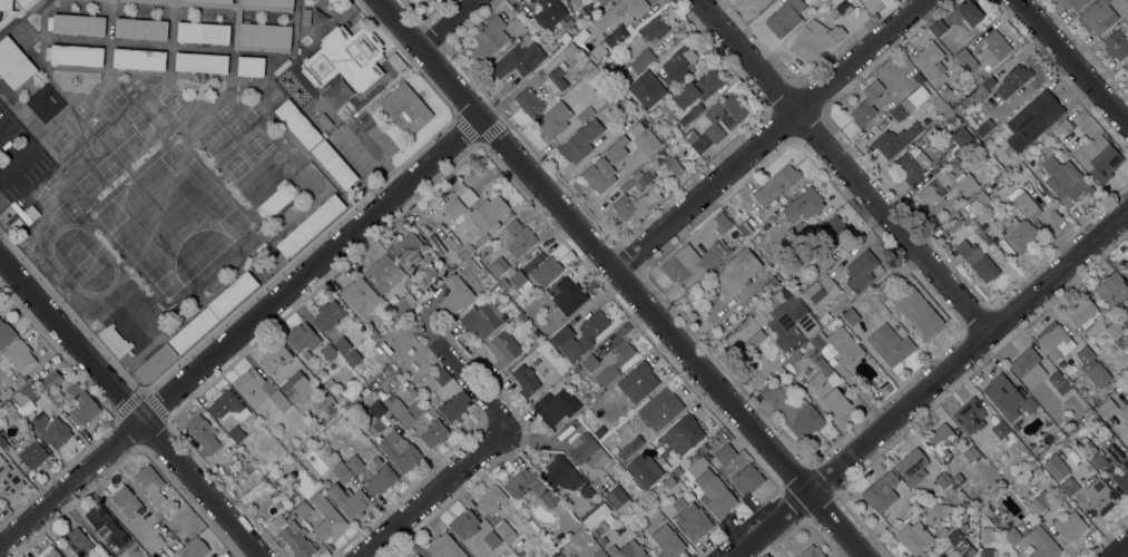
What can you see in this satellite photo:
building: (882, 1)
building: (269, 2)
building: (576, 2)
building: (602, 2)
building: (757, 3)
building: (1073, 3)
building: (873, 6)
building: (14, 9)
building: (620, 12)
building: (969, 14)
building: (304, 17)
building: (551, 17)
building: (785, 17)
building: (1097, 17)
road: (447, 23)
building: (78, 25)
building: (140, 29)
building: (514, 29)
building: (573, 29)
building: (654, 29)
building: (938, 29)
building: (203, 33)
building: (236, 33)
building: (265, 36)
building: (616, 37)
building: (489, 38)
building: (578, 38)
building: (950, 38)
building: (815, 40)
building: (1116, 46)
building: (954, 47)
building: (993, 49)
building: (569, 50)
building: (606, 50)
building: (76, 56)
building: (646, 57)
building: (518, 58)
building: (139, 59)
building: (344, 59)
building: (964, 59)
building: (202, 62)
building: (930, 62)
building: (13, 63)
road: (1072, 65)
building: (251, 66)
building: (588, 66)
building: (678, 66)
building: (1126, 69)
building: (558, 76)
building: (643, 78)
building: (1013, 80)
building: (697, 89)
building: (982, 90)
building: (944, 91)
building: (545, 92)
building: (334, 96)
building: (634, 100)
building: (305, 101)
building: (528, 101)
building: (909, 104)
building: (866, 105)
building: (405, 108)
building: (690, 114)
building: (585, 115)
building: (553, 120)
building: (958, 121)
building: (1031, 121)
building: (297, 124)
building: (1067, 125)
building: (729, 126)
building: (983, 128)
building: (7, 130)
road: (766, 135)
building: (960, 137)
building: (646, 140)
building: (893, 140)
building: (580, 141)
building: (617, 149)
building: (1098, 158)
building: (334, 164)
building: (911, 164)
road: (843, 165)
building: (673, 166)
building: (599, 175)
building: (29, 176)
building: (638, 182)
building: (1066, 182)
building: (964, 184)
building: (776, 185)
building: (935, 187)
building: (276, 201)
building: (981, 201)
building: (808, 202)
building: (636, 204)
building: (1026, 205)
building: (968, 207)
building: (24, 213)
building: (473, 214)
building: (510, 214)
building: (720, 223)
building: (419, 228)
building: (745, 228)
building: (975, 228)
building: (306, 229)
building: (833, 232)
building: (797, 233)
building: (1020, 235)
building: (517, 238)
building: (471, 241)
building: (408, 252)
building: (479, 254)
building: (824, 261)
building: (978, 261)
building: (691, 263)
building: (1126, 265)
building: (496, 268)
building: (443, 271)
building: (738, 271)
building: (861, 271)
building: (546, 272)
building: (383, 273)
building: (426, 275)
road: (621, 280)
building: (517, 282)
building: (503, 283)
building: (496, 287)
building: (766, 287)
building: (820, 291)
building: (883, 291)
building: (1112, 291)
building: (233, 294)
building: (567, 295)
building: (454, 296)
building: (362, 301)
building: (402, 304)
building: (918, 313)
building: (1082, 314)
building: (327, 315)
building: (520, 316)
building: (822, 316)
building: (851, 316)
building: (788, 319)
building: (482, 320)
building: (193, 330)
building: (591, 330)
building: (1114, 330)
building: (372, 332)
building: (742, 333)
building: (6, 334)
road: (239, 334)
building: (302, 338)
building: (1055, 340)
building: (114, 341)
building: (563, 341)
building: (1117, 343)
building: (840, 344)
building: (342, 345)
building: (889, 345)
building: (503, 349)
building: (328, 352)
building: (1009, 354)
building: (1085, 354)
building: (306, 355)
building: (349, 356)
building: (20, 358)
building: (275, 358)
building: (608, 362)
building: (155, 363)
building: (1028, 368)
building: (577, 369)
building: (394, 372)
building: (1097, 374)
building: (441, 377)
building: (567, 378)
building: (524, 381)
building: (248, 382)
building: (389, 382)
building: (637, 382)
road: (930, 382)
building: (327, 383)
building: (1059, 383)
building: (1126, 383)
building: (51, 387)
building: (295, 387)
building: (827, 388)
building: (29, 391)
building: (380, 394)
road: (468, 395)
building: (1007, 398)
building: (279, 400)
building: (46, 401)
building: (80, 404)
building: (226, 407)
building: (374, 407)
building: (453, 407)
building: (556, 407)
road: (130, 409)
building: (330, 409)
building: (659, 409)
building: (1106, 409)
building: (401, 410)
building: (792, 411)
building: (324, 413)
building: (970, 417)
building: (1069, 420)
building: (1, 423)
building: (315, 424)
building: (1016, 427)
building: (1062, 427)
building: (999, 429)
building: (50, 430)
building: (1077, 430)
building: (599, 431)
building: (685, 432)
building: (203, 433)
building: (434, 433)
building: (236, 434)
building: (722, 436)
building: (1127, 438)
building: (941, 440)
building: (1063, 441)
building: (2, 442)
building: (629, 448)
building: (704, 449)
building: (588, 451)
building: (31, 452)
building: (340, 452)
building: (400, 452)
building: (665, 453)
building: (1090, 453)
building: (724, 455)
building: (696, 456)
building: (971, 456)
building: (707, 457)
building: (353, 465)
building: (1118, 466)
building: (912, 467)
building: (1056, 467)
building: (1088, 467)
building: (247, 468)
building: (644, 470)
building: (677, 471)
building: (1037, 471)
building: (341, 472)
building: (560, 475)
building: (1027, 476)
building: (9, 479)
building: (747, 479)
building: (149, 480)
building: (381, 480)
building: (943, 480)
building: (520, 482)
building: (668, 482)
building: (1068, 486)
building: (712, 490)
building: (586, 491)
building: (881, 492)
building: (651, 495)
road: (433, 496)
building: (1099, 499)
building: (126, 500)
building: (349, 500)
building: (490, 500)
building: (618, 500)
building: (550, 501)
building: (1039, 502)
building: (296, 504)
building: (964, 504)
building: (964, 510)
building: (987, 511)
building: (936, 512)
building: (597, 516)
building: (974, 516)
building: (327, 519)
building: (690, 519)
building: (464, 525)
building: (602, 525)
building: (632, 527)
building: (1069, 527)
building: (105, 528)
building: (571, 528)
building: (163, 529)
building: (596, 530)
building: (503, 531)
building: (988, 536)
building: (1012, 536)
building: (293, 537)
building: (914, 537)
building: (491, 539)
building: (602, 540)
building: (957, 540)
building: (78, 541)
building: (668, 543)
building: (1042, 543)
building: (174, 547)
building: (444, 547)
building: (195, 549)
road: (1119, 549)
building: (627, 550)
building: (48, 551)
building: (811, 551)
building: (985, 553)
building: (599, 554)
building: (940, 555)
building: (415, 556)
building: (556, 556)

